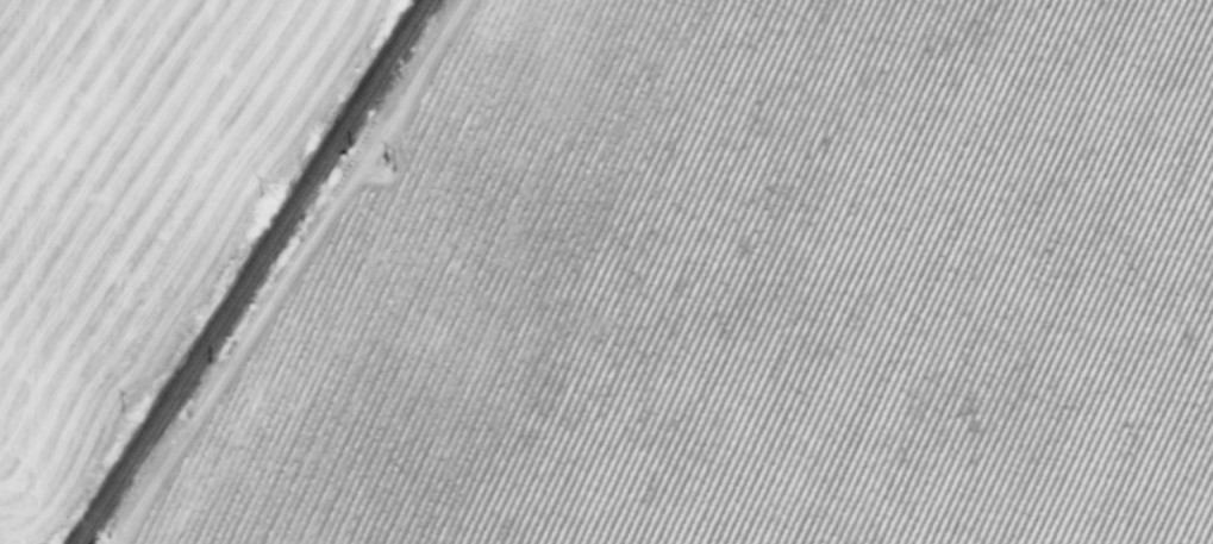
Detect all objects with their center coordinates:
crop: (137, 204)
railway: (245, 271)
crop: (782, 290)

